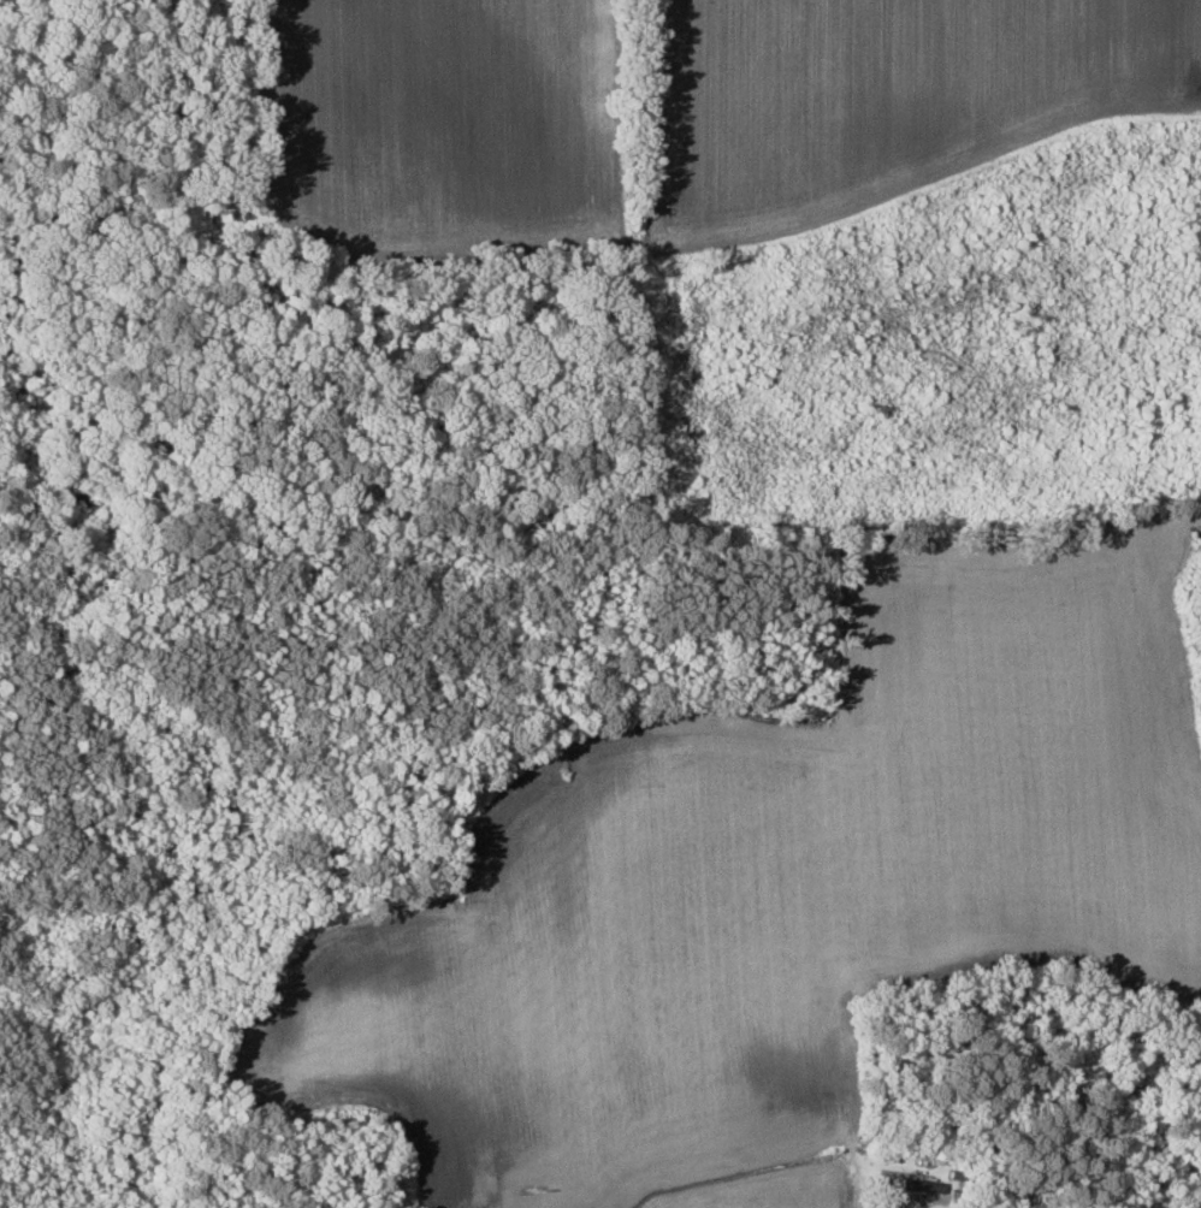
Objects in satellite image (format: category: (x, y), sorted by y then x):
building: (921, 1184)

